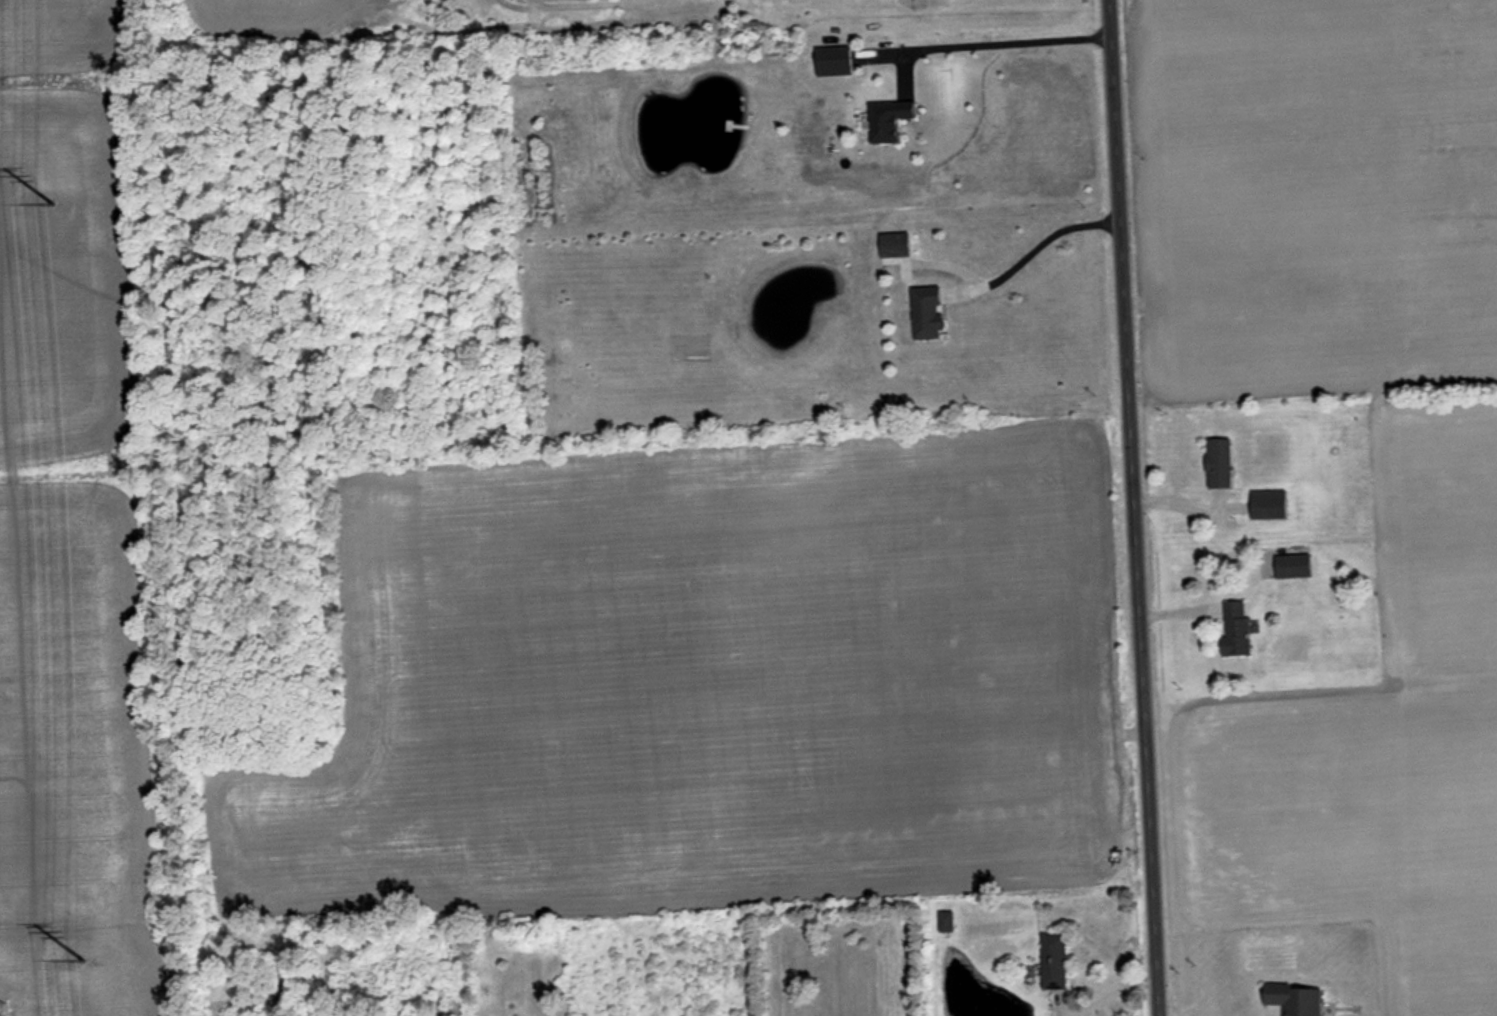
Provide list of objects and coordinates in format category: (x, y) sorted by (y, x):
road: (985, 41)
building: (886, 118)
power tower: (52, 207)
building: (892, 244)
road: (1031, 249)
building: (924, 312)
building: (1217, 462)
road: (1131, 508)
building: (1292, 565)
building: (1234, 627)
building: (945, 921)
building: (1052, 961)
power tower: (87, 972)
road: (1098, 998)
building: (1292, 999)

